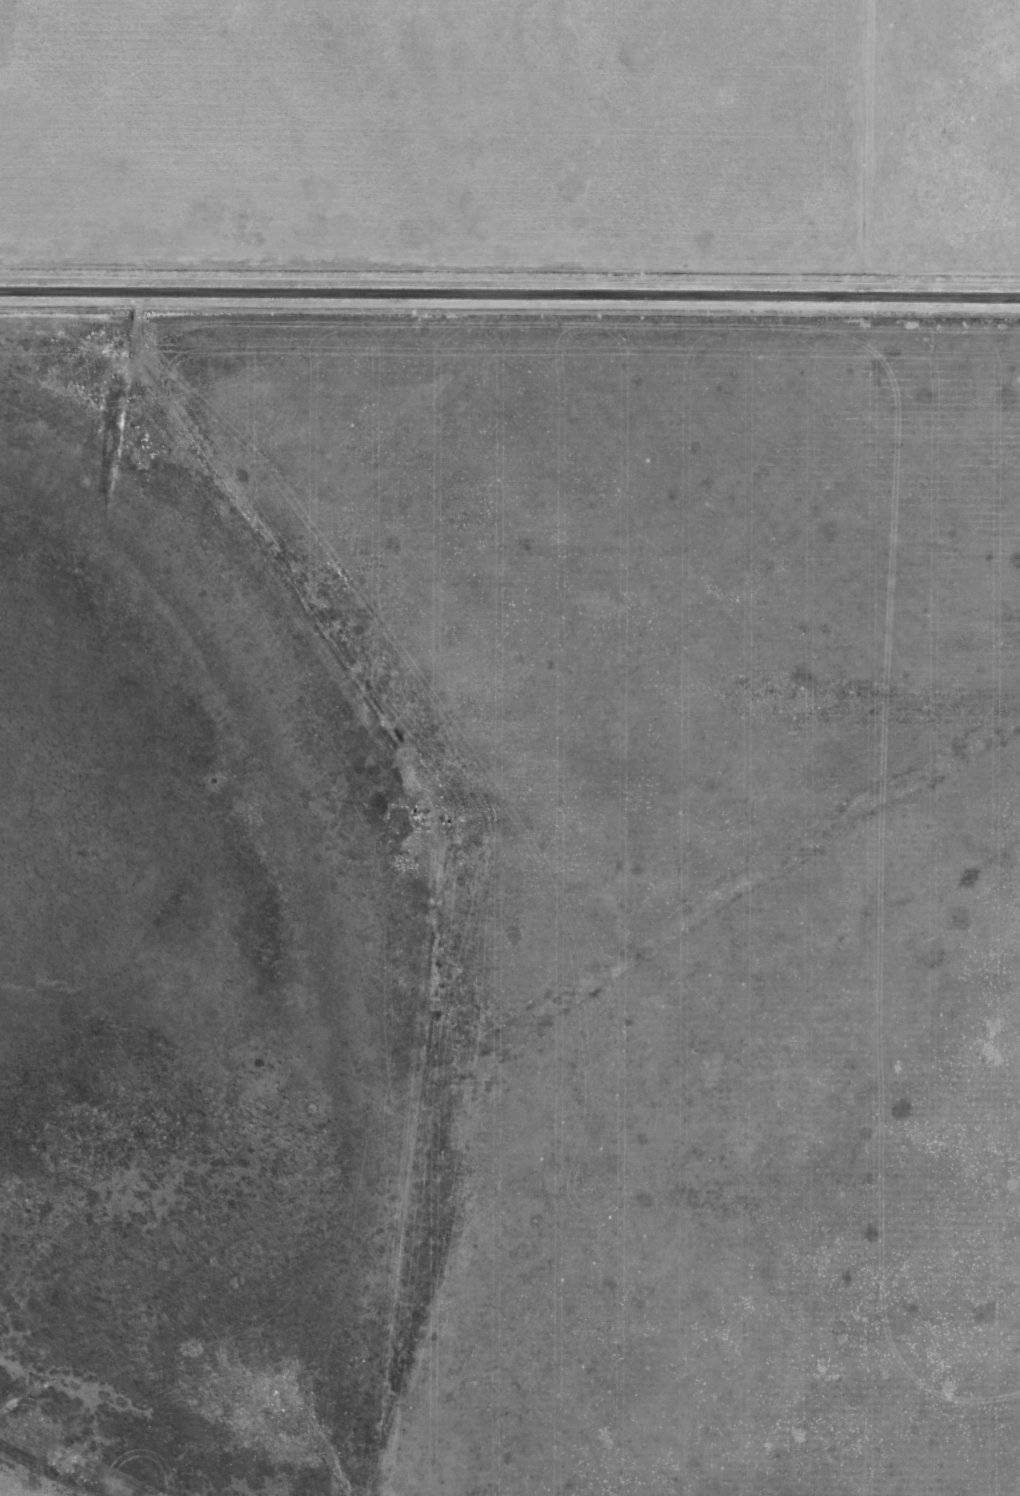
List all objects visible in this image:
road: (510, 293)

